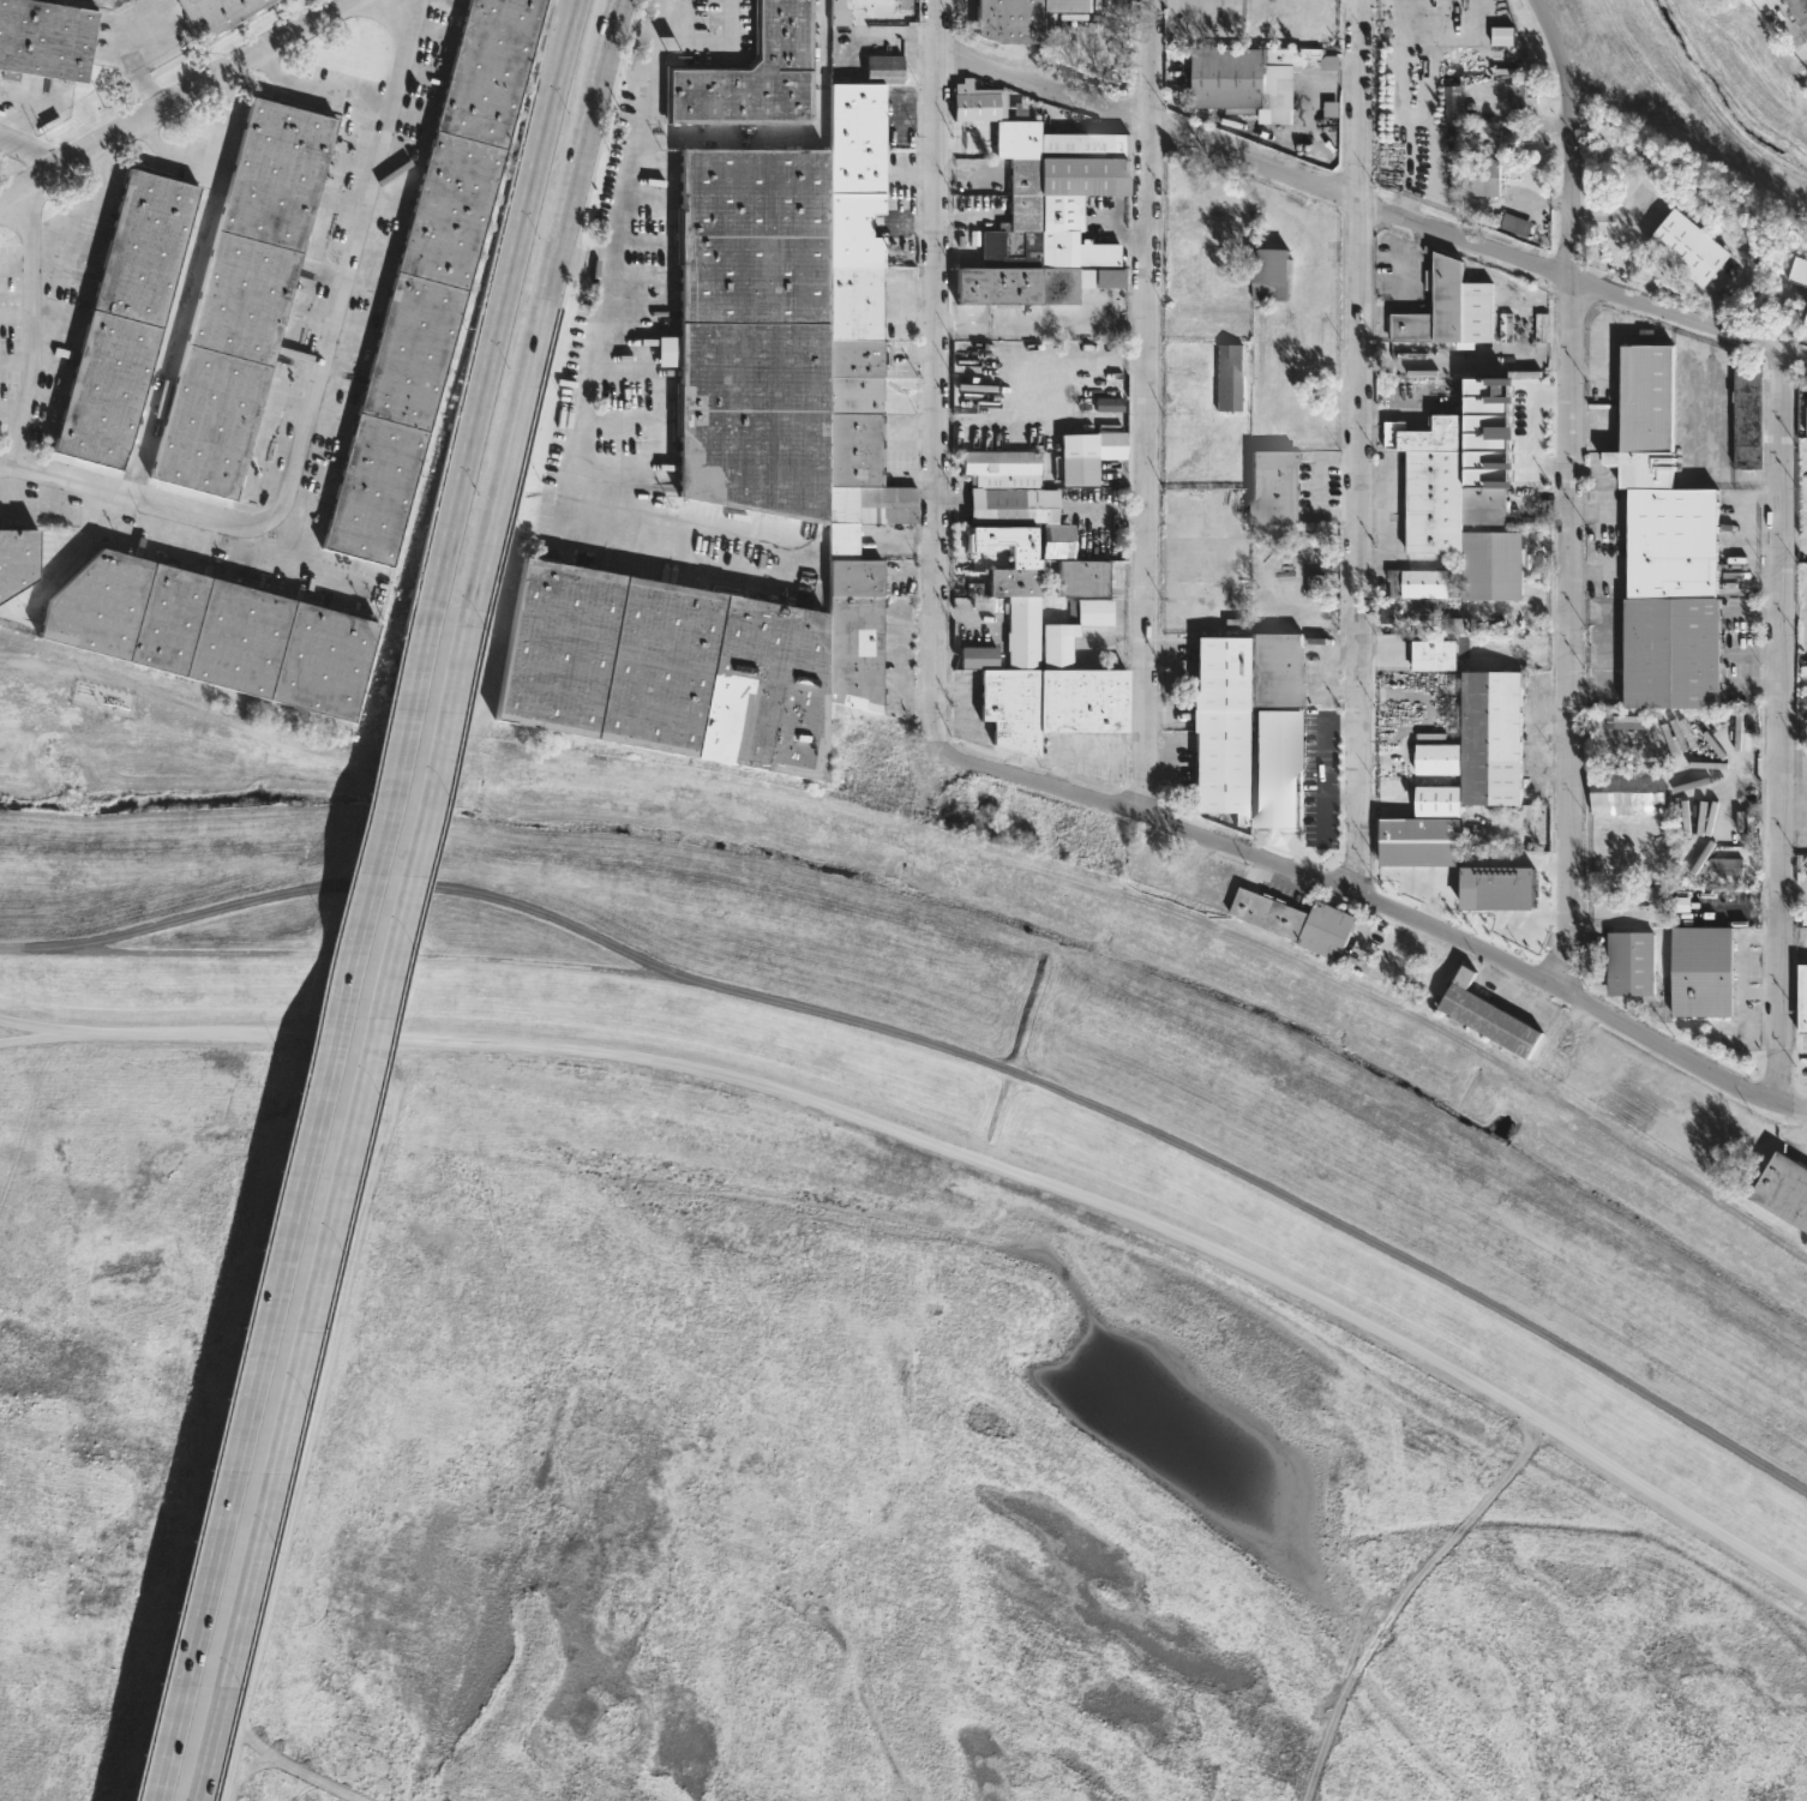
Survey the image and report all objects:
building: (1743, 0)
building: (903, 4)
road: (619, 12)
building: (1799, 13)
building: (216, 14)
building: (1017, 18)
building: (1506, 37)
building: (48, 40)
road: (716, 41)
road: (1559, 50)
building: (1299, 58)
building: (884, 67)
building: (754, 73)
building: (1227, 79)
road: (318, 90)
building: (1520, 95)
road: (174, 100)
building: (978, 101)
building: (903, 115)
road: (793, 131)
road: (206, 145)
road: (29, 151)
road: (631, 155)
building: (1478, 176)
road: (529, 203)
road: (1375, 209)
building: (1047, 220)
road: (568, 221)
building: (1509, 223)
building: (1211, 224)
building: (1685, 246)
building: (1266, 275)
building: (436, 281)
road: (1404, 284)
building: (250, 300)
road: (59, 301)
building: (1446, 310)
building: (128, 320)
road: (175, 320)
building: (1806, 324)
building: (754, 330)
road: (1465, 359)
road: (939, 376)
building: (1227, 376)
building: (856, 398)
road: (307, 402)
road: (1151, 410)
building: (1746, 416)
building: (1806, 422)
building: (1203, 442)
building: (1112, 445)
road: (1355, 445)
building: (1079, 458)
building: (1219, 475)
building: (1273, 485)
building: (1437, 486)
building: (1010, 496)
road: (572, 497)
road: (1597, 514)
road: (1573, 548)
road: (1793, 548)
building: (1662, 550)
building: (20, 558)
road: (1596, 569)
building: (1080, 576)
building: (1416, 582)
building: (983, 602)
building: (1089, 611)
building: (1019, 612)
building: (212, 634)
building: (1057, 644)
building: (1430, 654)
building: (978, 656)
road: (901, 659)
building: (667, 668)
building: (1277, 668)
building: (1049, 703)
building: (1220, 725)
road: (1778, 730)
building: (1488, 732)
building: (1435, 757)
building: (1275, 772)
building: (1626, 790)
building: (1435, 799)
building: (1416, 841)
railway: (942, 844)
power tower: (203, 881)
road: (367, 884)
power tower: (511, 890)
road: (1382, 905)
building: (1293, 920)
power tower: (823, 941)
road: (30, 948)
building: (1627, 962)
building: (1699, 971)
building: (1801, 997)
building: (1483, 1015)
road: (48, 1027)
power tower: (1200, 1074)
road: (317, 1104)
road: (359, 1109)
road: (950, 1147)
road: (1257, 1179)
building: (1782, 1191)
power tower: (1556, 1257)
park: (812, 1343)

